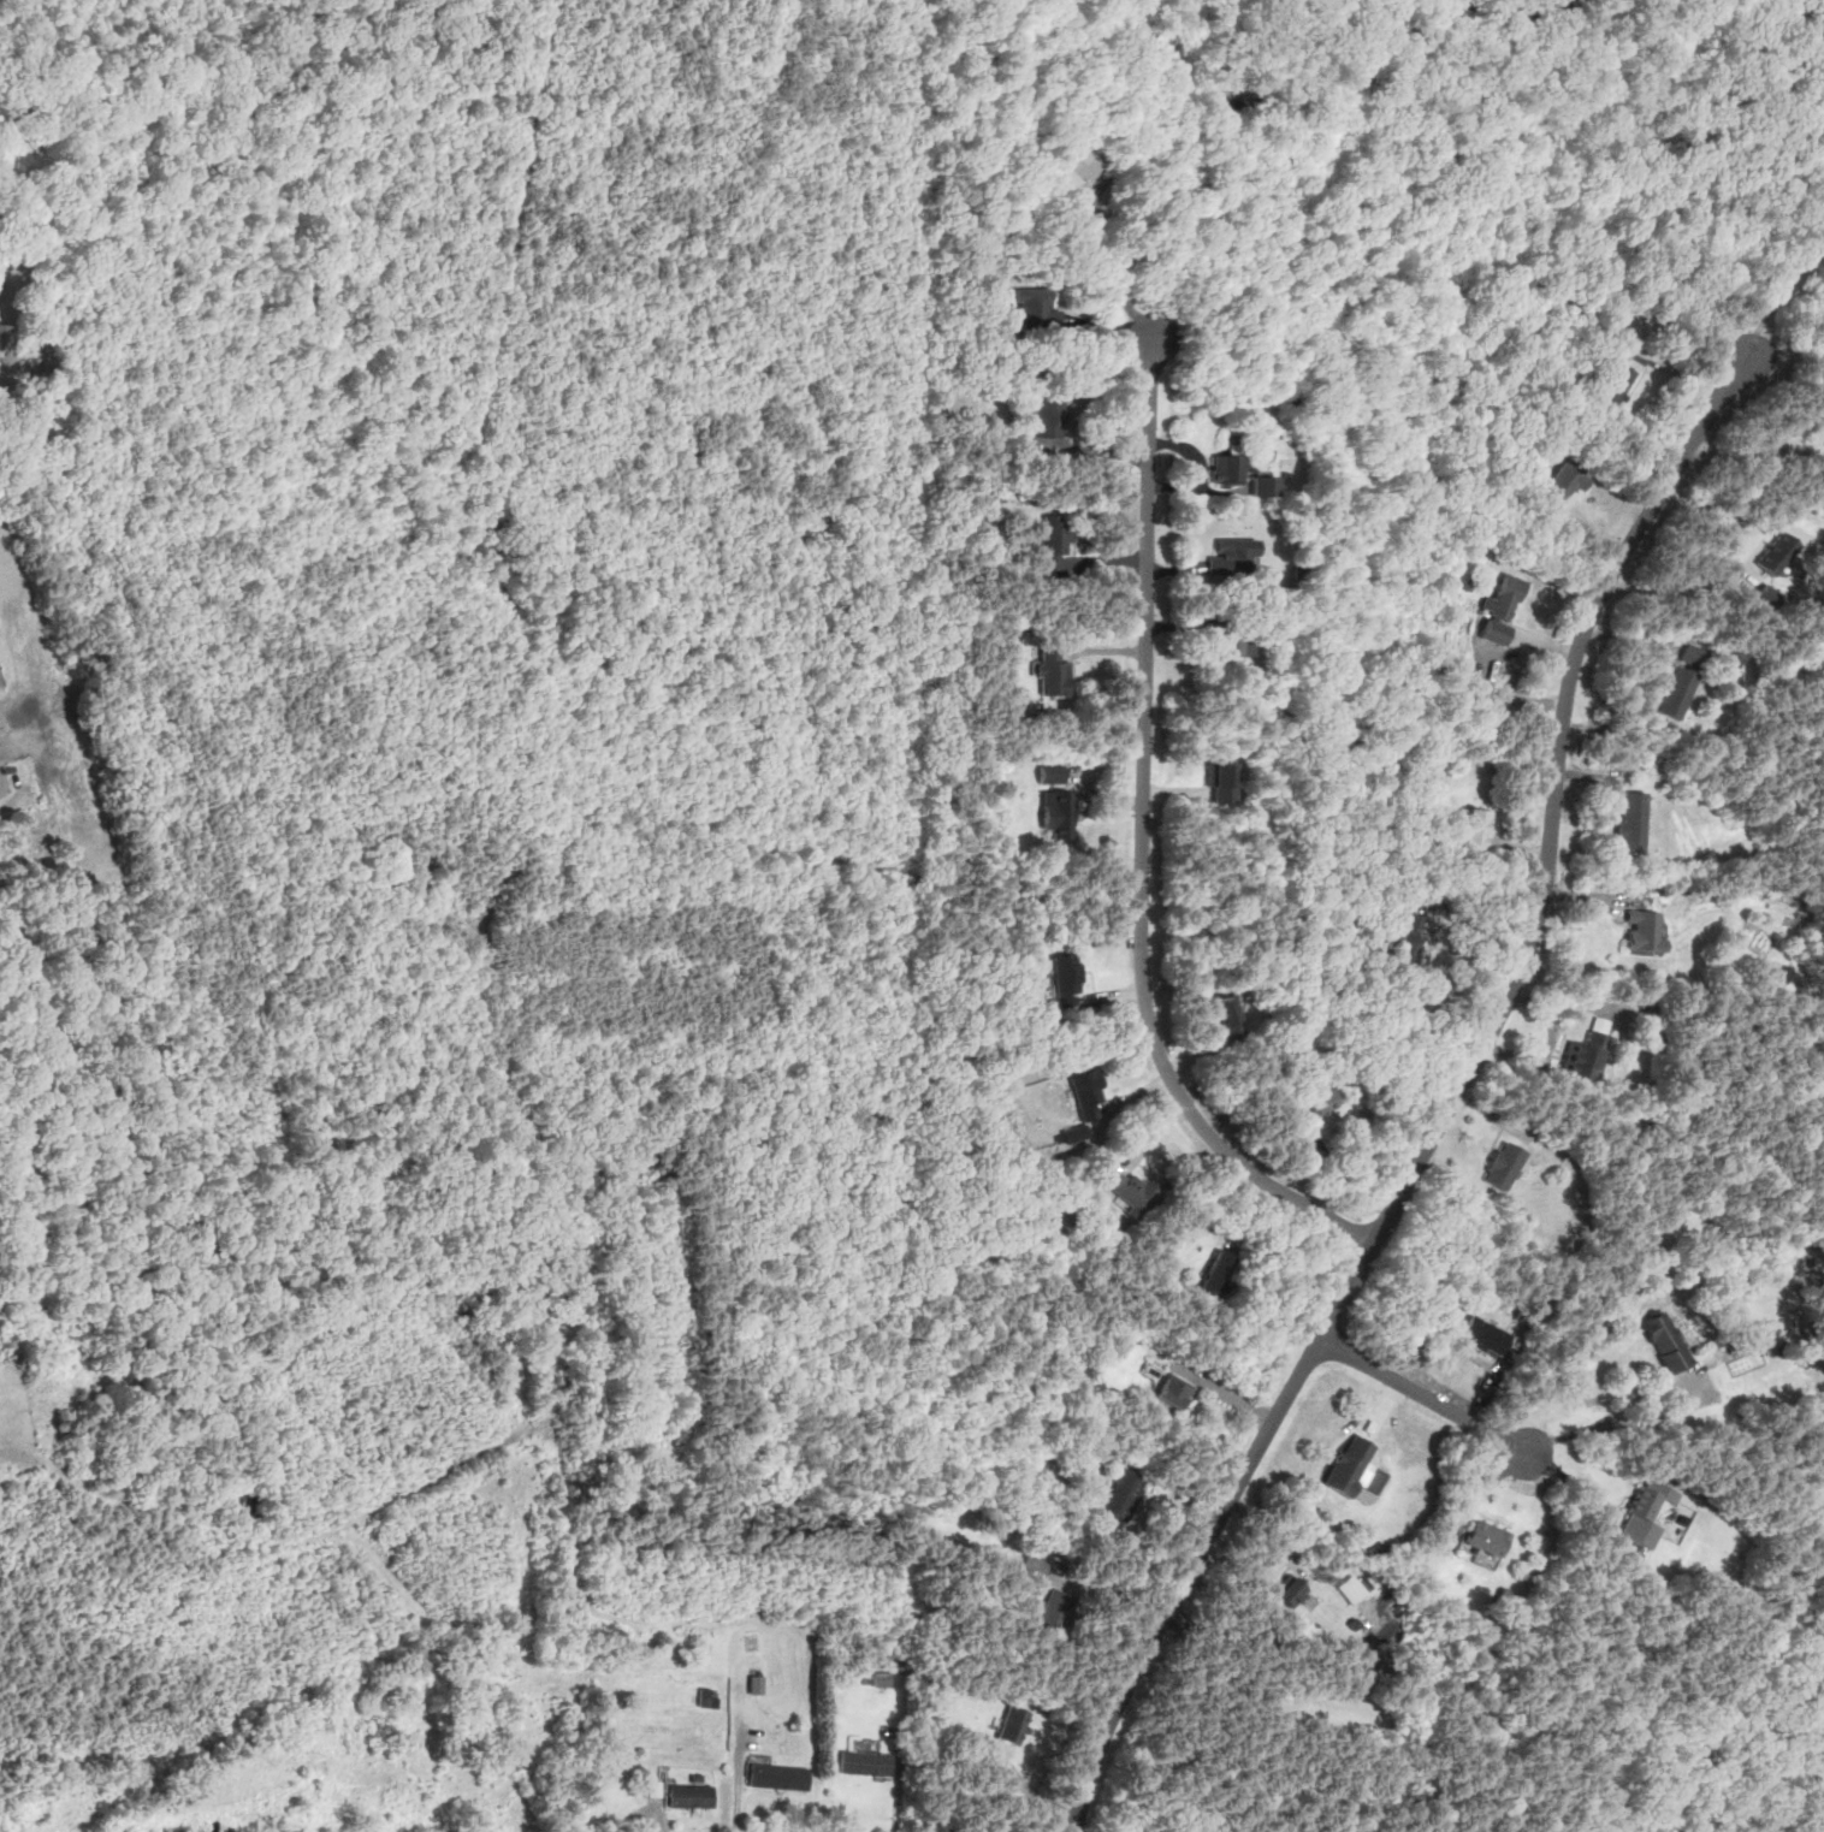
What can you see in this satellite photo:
building: (1073, 168)
road: (1109, 268)
road: (1779, 294)
building: (1037, 309)
building: (6, 337)
road: (1785, 348)
building: (1616, 385)
building: (1048, 415)
road: (1755, 450)
building: (1228, 467)
building: (1568, 480)
building: (1266, 485)
building: (1058, 543)
building: (1773, 553)
building: (1233, 557)
road: (1678, 586)
building: (1503, 610)
building: (1228, 639)
building: (1054, 672)
building: (1677, 681)
building: (1053, 778)
building: (1221, 784)
building: (1059, 814)
building: (1628, 820)
building: (1476, 830)
road: (1141, 842)
building: (1640, 931)
building: (1409, 938)
building: (1067, 980)
building: (1228, 1018)
building: (1580, 1055)
building: (1088, 1092)
road: (1449, 1104)
building: (1313, 1107)
building: (1499, 1166)
building: (1131, 1191)
building: (1219, 1274)
building: (1479, 1335)
building: (1660, 1341)
building: (1, 1348)
building: (1174, 1393)
road: (1225, 1394)
road: (1422, 1394)
road: (1659, 1417)
building: (1351, 1465)
building: (1125, 1495)
building: (1642, 1517)
building: (1481, 1538)
building: (1034, 1569)
building: (1352, 1590)
building: (1293, 1593)
building: (1056, 1612)
building: (1013, 1726)
building: (866, 1763)
building: (780, 1778)
building: (655, 1791)
building: (693, 1796)
road: (734, 1806)
road: (896, 1809)
road: (658, 1828)

